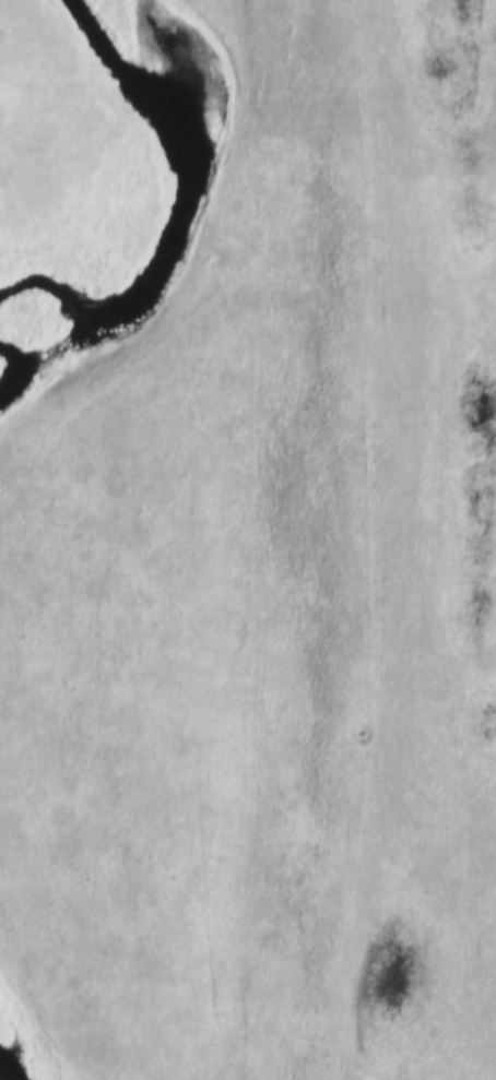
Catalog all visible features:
river: (172, 207)
river: (2, 368)

